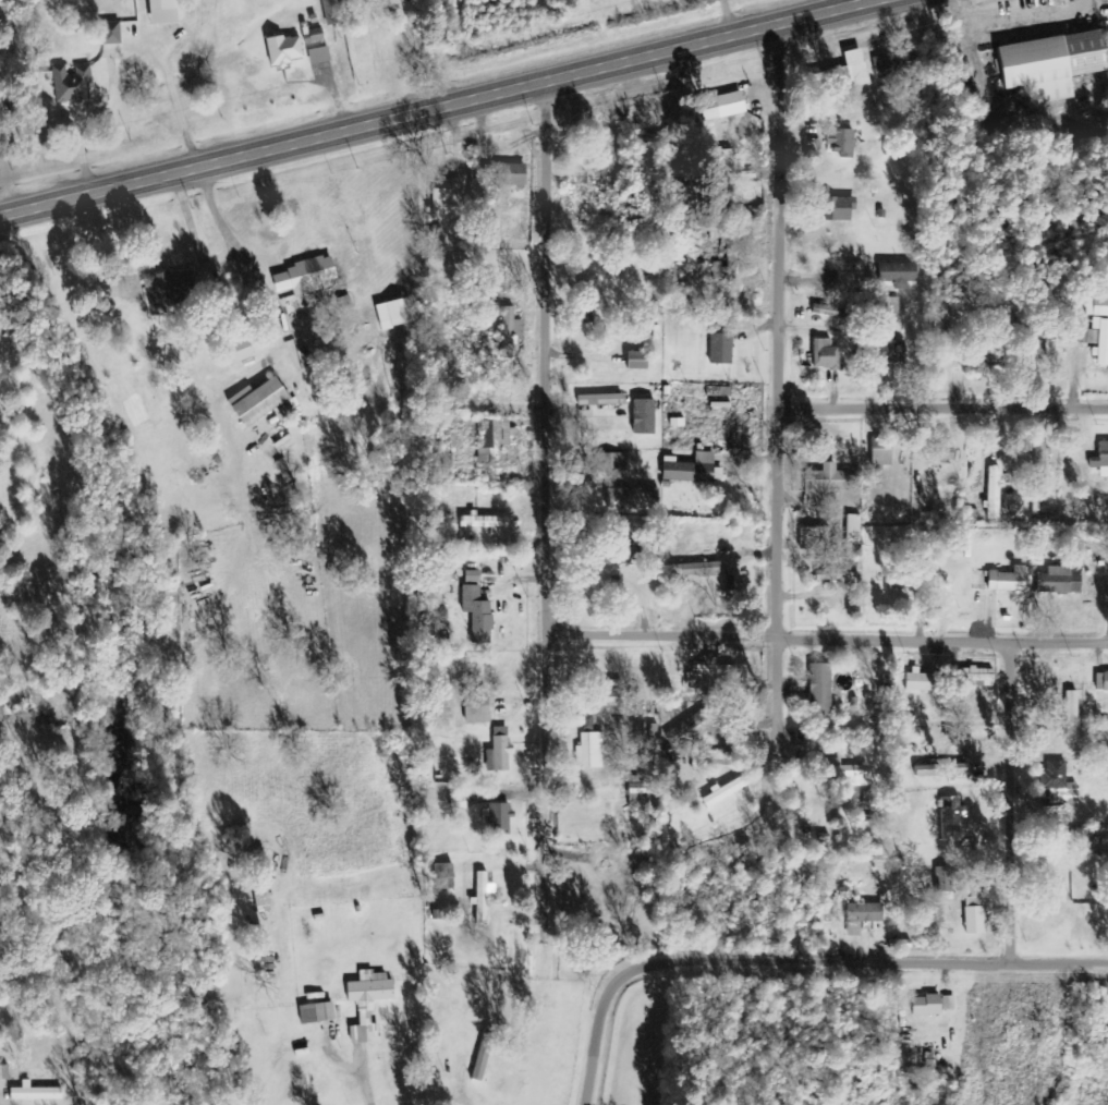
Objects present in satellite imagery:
building: (370, 0)
building: (163, 12)
road: (729, 15)
building: (112, 34)
building: (316, 35)
building: (285, 51)
building: (319, 57)
building: (897, 64)
building: (1054, 65)
building: (842, 74)
building: (72, 85)
road: (175, 102)
road: (433, 107)
building: (726, 107)
building: (652, 141)
building: (842, 143)
building: (726, 167)
building: (448, 201)
building: (839, 210)
building: (691, 258)
building: (899, 275)
building: (851, 276)
building: (306, 277)
building: (169, 291)
building: (892, 305)
building: (1097, 307)
building: (828, 312)
building: (397, 313)
road: (778, 328)
building: (510, 332)
building: (1095, 340)
building: (890, 348)
building: (245, 349)
building: (721, 349)
building: (826, 354)
building: (638, 361)
building: (988, 361)
building: (600, 400)
building: (259, 401)
road: (942, 408)
building: (644, 416)
building: (497, 440)
building: (882, 450)
building: (1101, 460)
building: (608, 463)
building: (691, 470)
building: (827, 484)
building: (995, 494)
road: (546, 510)
building: (486, 523)
building: (853, 527)
building: (813, 537)
building: (698, 570)
building: (836, 574)
building: (473, 576)
building: (1009, 581)
building: (1060, 581)
building: (478, 614)
road: (826, 636)
building: (710, 676)
building: (981, 677)
building: (920, 680)
building: (1101, 682)
building: (820, 690)
road: (776, 696)
building: (611, 699)
building: (477, 708)
building: (1072, 717)
building: (499, 751)
building: (592, 751)
building: (699, 762)
building: (941, 770)
building: (849, 774)
building: (1059, 784)
building: (638, 785)
building: (726, 791)
road: (1010, 801)
building: (498, 818)
building: (951, 818)
building: (445, 877)
building: (945, 879)
building: (483, 897)
building: (862, 916)
building: (975, 916)
road: (800, 960)
building: (368, 1003)
building: (933, 1006)
building: (319, 1013)
building: (36, 1093)

